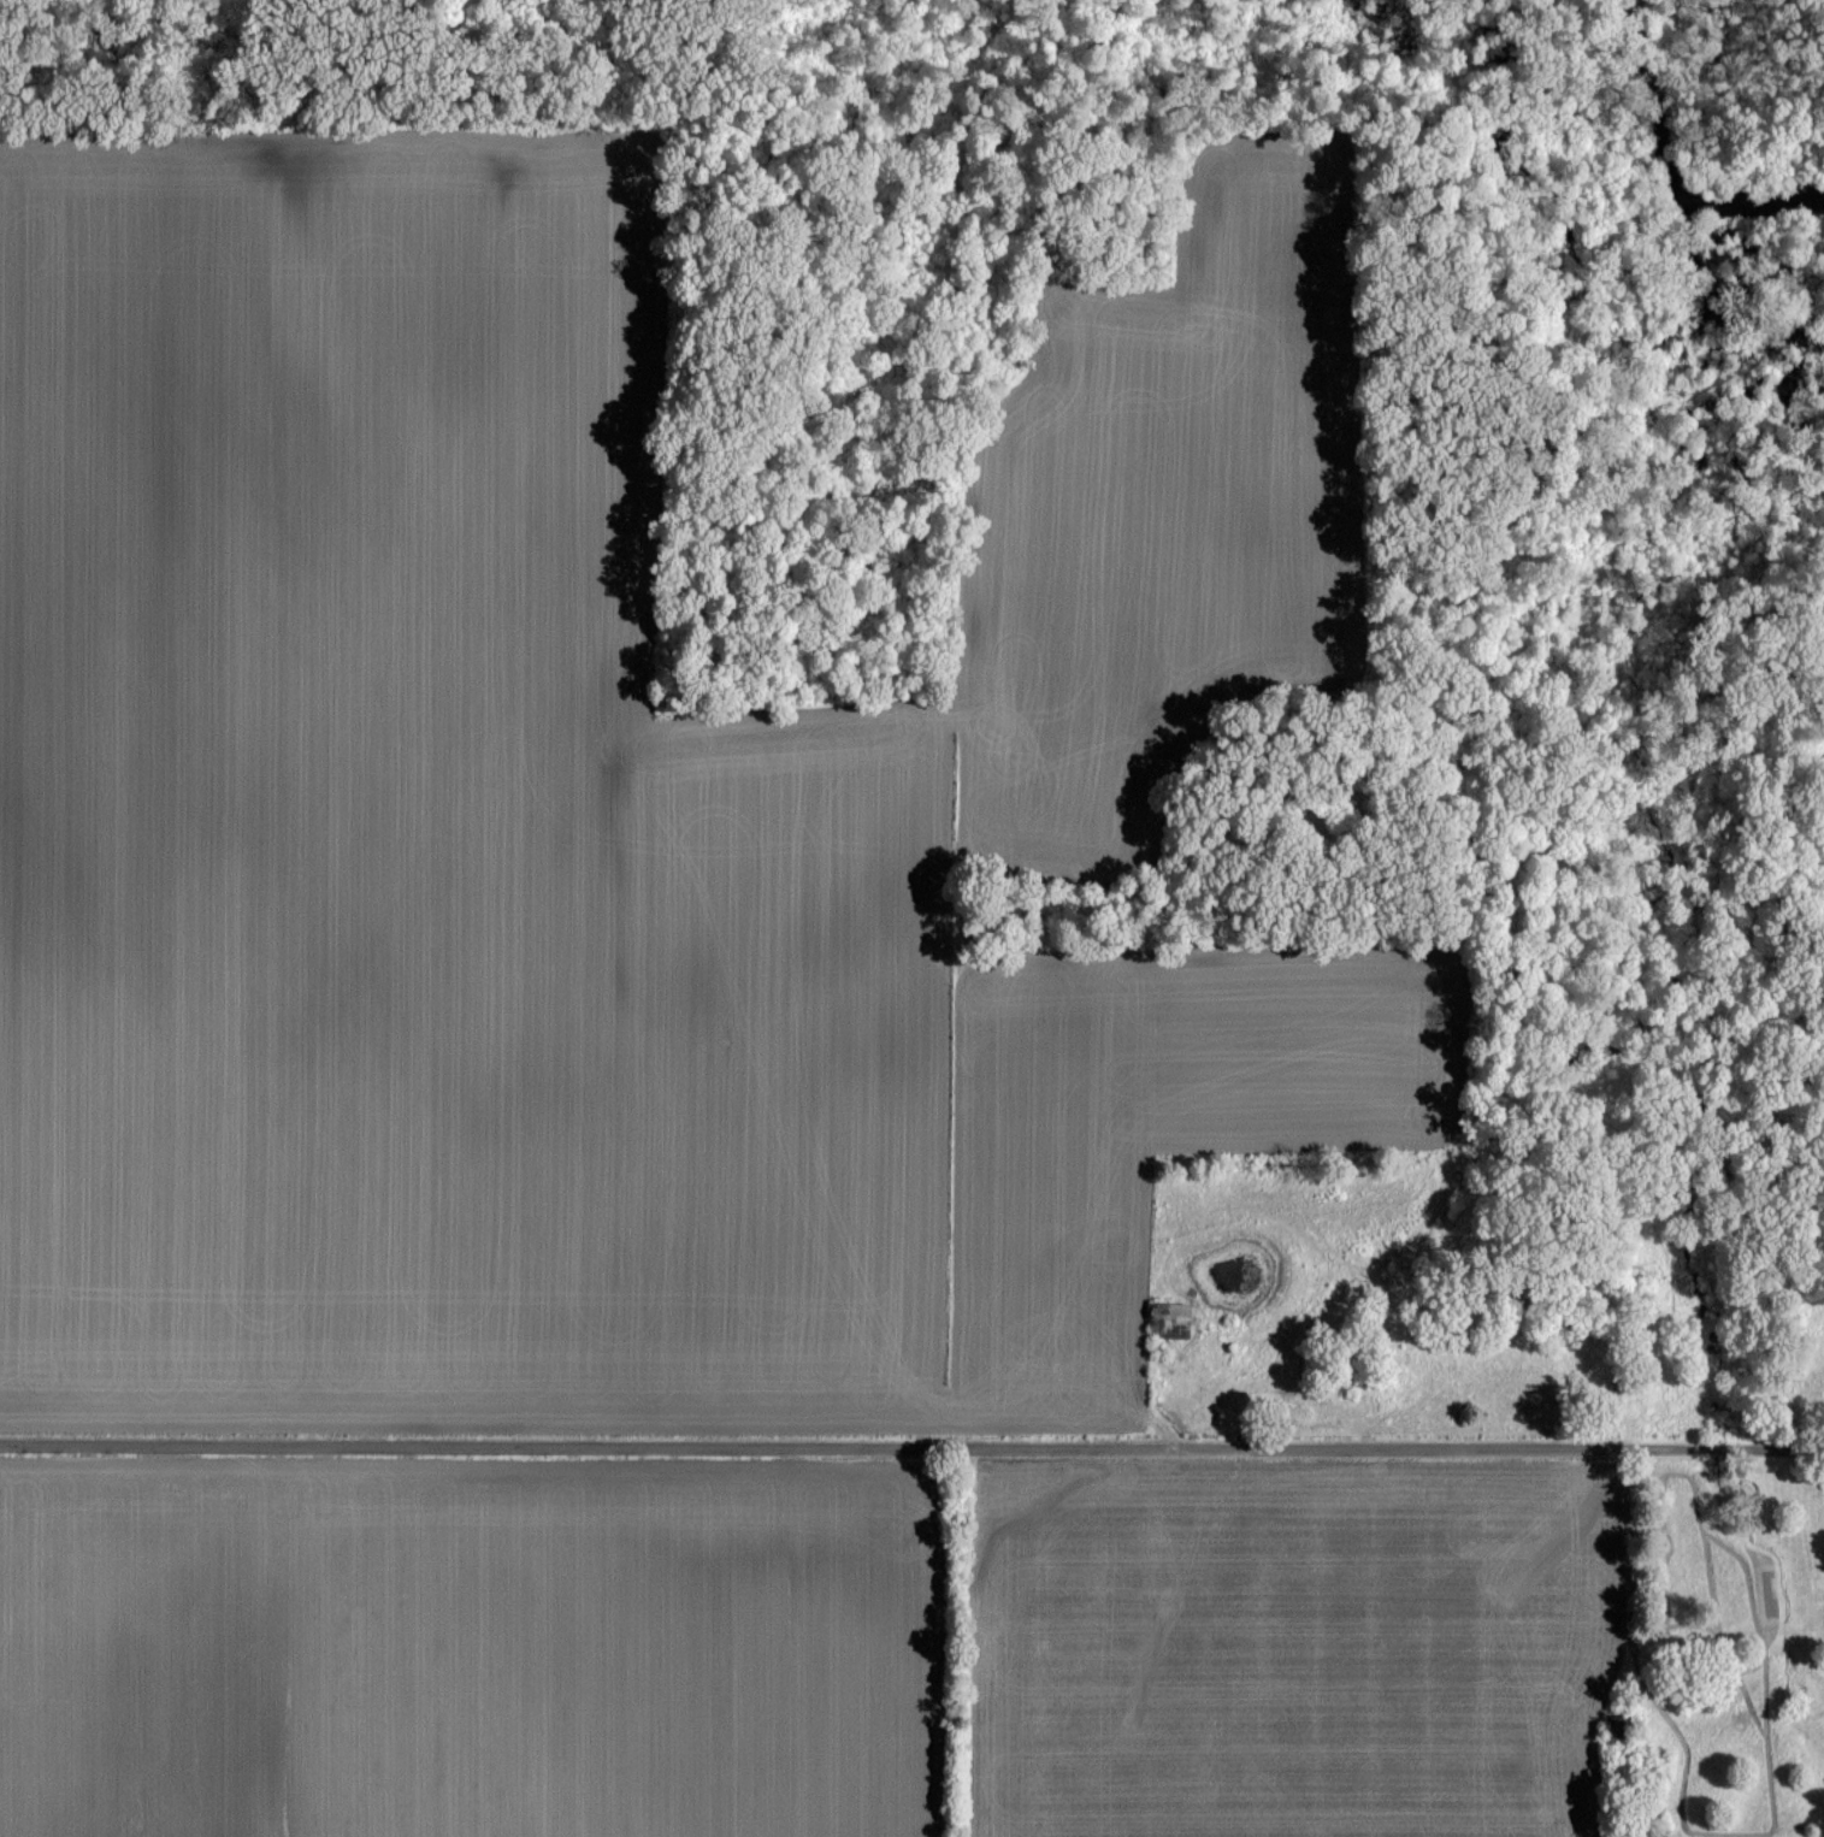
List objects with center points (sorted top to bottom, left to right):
road: (911, 1465)

